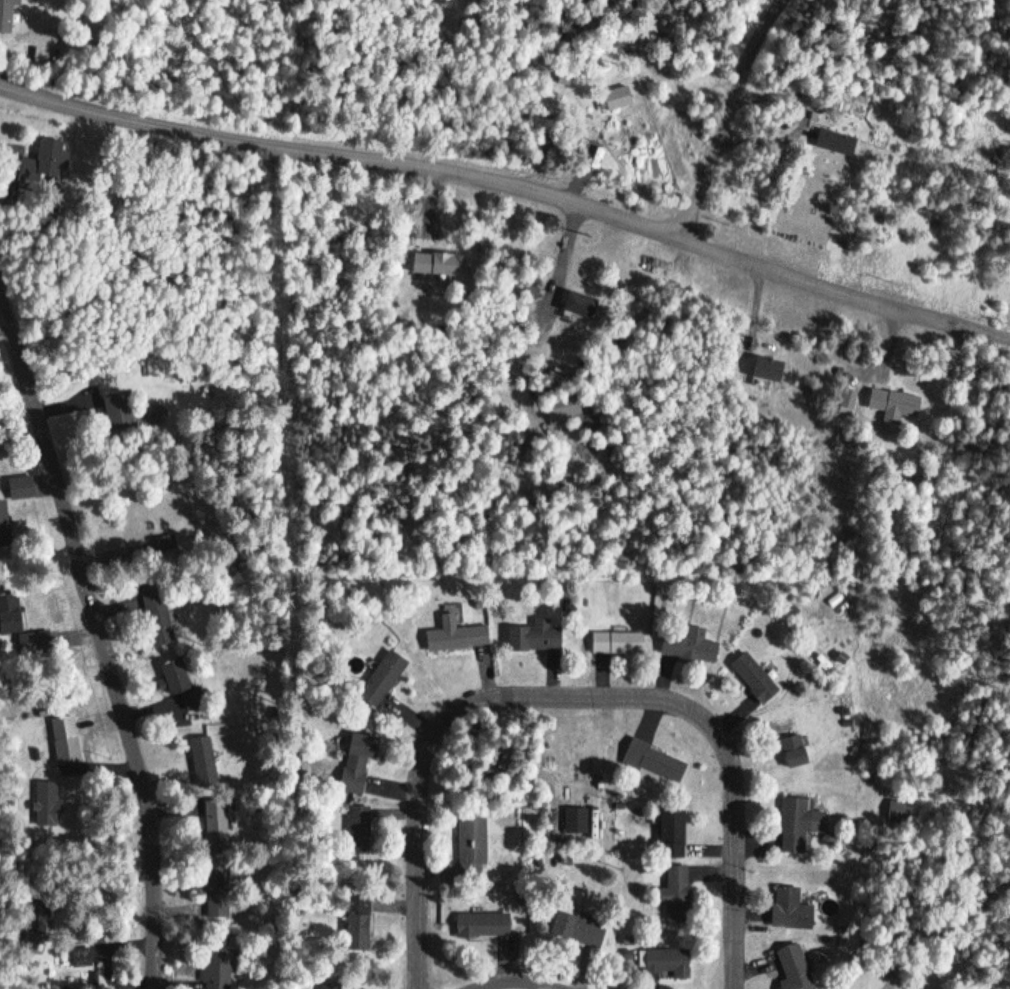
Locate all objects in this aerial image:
building: (8, 16)
road: (256, 72)
building: (616, 98)
road: (730, 116)
building: (833, 142)
building: (53, 156)
road: (511, 183)
building: (436, 264)
building: (577, 305)
building: (764, 369)
building: (892, 402)
building: (124, 410)
building: (0, 483)
building: (24, 487)
building: (140, 524)
building: (6, 525)
building: (161, 616)
road: (100, 636)
building: (531, 637)
building: (32, 638)
building: (454, 638)
building: (613, 644)
building: (690, 649)
building: (750, 678)
building: (380, 679)
building: (184, 682)
road: (580, 691)
building: (791, 750)
building: (652, 761)
building: (356, 762)
building: (205, 763)
building: (48, 803)
building: (574, 821)
building: (796, 823)
building: (357, 832)
building: (667, 833)
building: (469, 845)
building: (220, 891)
building: (673, 894)
building: (788, 909)
building: (354, 924)
building: (480, 925)
building: (576, 930)
building: (80, 957)
building: (665, 963)
building: (792, 967)
building: (214, 968)
road: (514, 982)
building: (328, 985)

